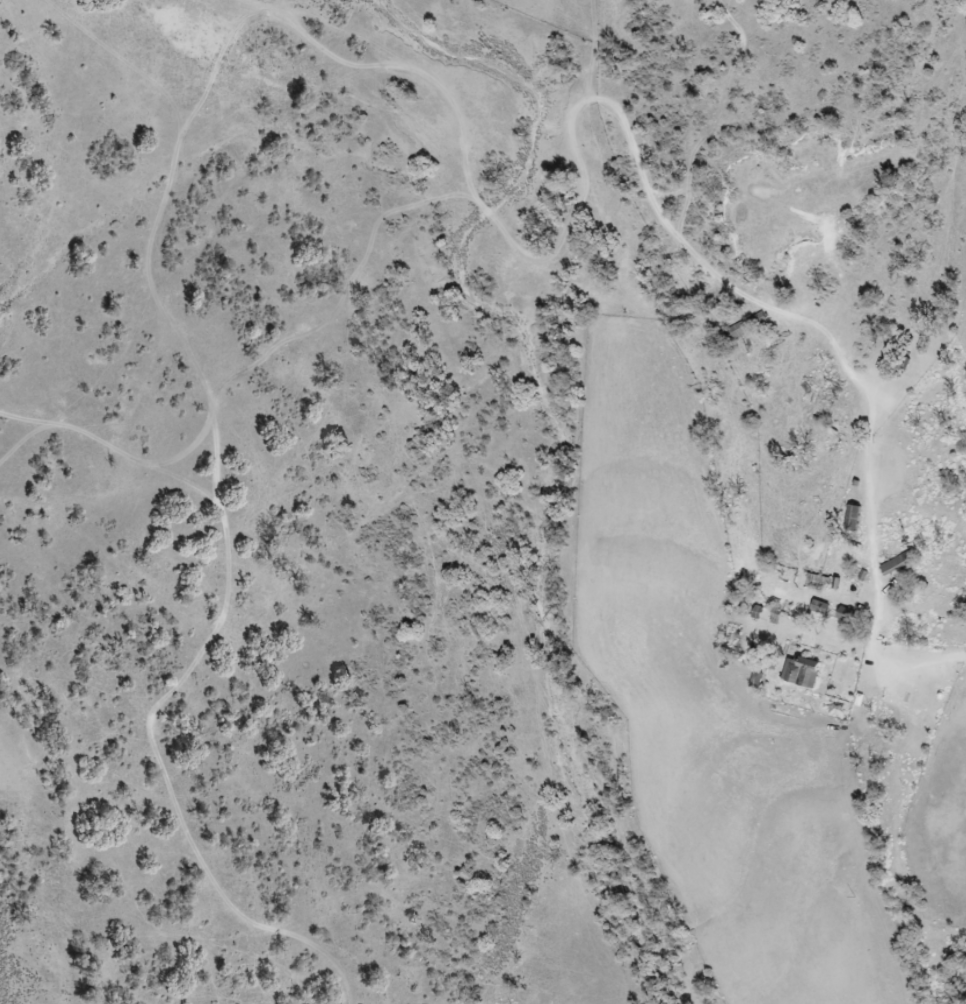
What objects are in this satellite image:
building: (859, 516)
building: (900, 562)
building: (849, 615)
road: (884, 618)
building: (735, 638)
building: (805, 672)

